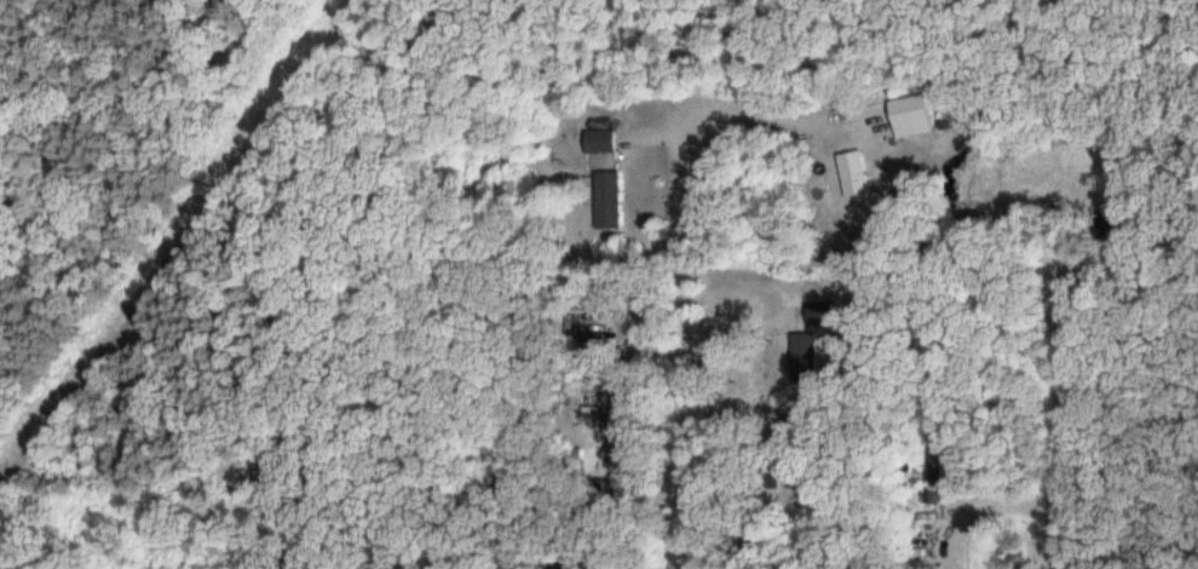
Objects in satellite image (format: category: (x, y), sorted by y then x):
building: (601, 139)
building: (856, 172)
building: (610, 197)
road: (692, 401)
road: (1069, 416)

